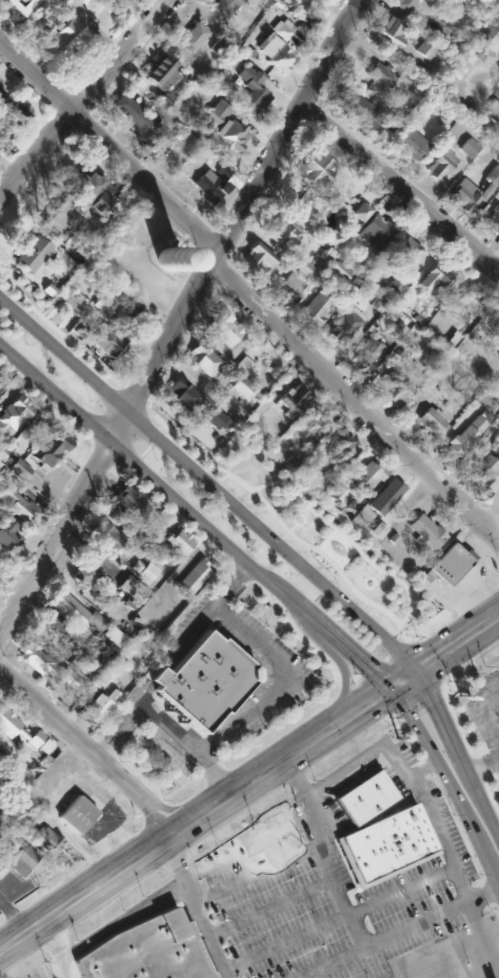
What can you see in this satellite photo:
building: (283, 0)
building: (121, 2)
building: (403, 4)
building: (21, 5)
building: (225, 6)
building: (283, 28)
building: (391, 31)
building: (70, 37)
building: (192, 37)
building: (490, 39)
building: (424, 50)
building: (275, 52)
building: (161, 72)
building: (378, 74)
building: (251, 90)
road: (82, 94)
building: (2, 95)
building: (166, 97)
building: (492, 110)
building: (369, 112)
building: (135, 118)
building: (12, 122)
building: (224, 128)
building: (410, 143)
building: (467, 148)
road: (106, 158)
building: (440, 164)
building: (316, 173)
building: (88, 185)
building: (208, 185)
building: (472, 191)
road: (396, 195)
building: (99, 203)
building: (361, 211)
building: (492, 220)
building: (64, 225)
building: (375, 231)
building: (283, 232)
building: (332, 237)
building: (407, 251)
building: (34, 254)
building: (257, 257)
water tower: (163, 264)
building: (306, 270)
building: (337, 270)
building: (435, 277)
building: (293, 282)
building: (394, 286)
building: (470, 296)
building: (315, 307)
building: (123, 311)
road: (179, 312)
building: (224, 328)
building: (345, 328)
building: (77, 331)
building: (494, 331)
building: (106, 341)
building: (368, 353)
building: (498, 354)
building: (204, 360)
building: (244, 366)
building: (498, 384)
building: (241, 387)
building: (393, 389)
building: (434, 393)
building: (182, 394)
building: (292, 399)
road: (351, 409)
building: (259, 410)
building: (14, 413)
building: (213, 419)
building: (431, 420)
building: (309, 424)
building: (468, 432)
building: (339, 440)
building: (496, 440)
building: (52, 448)
building: (484, 466)
building: (19, 468)
building: (368, 471)
road: (206, 494)
building: (385, 496)
building: (15, 504)
building: (128, 504)
road: (193, 527)
building: (377, 530)
building: (425, 532)
building: (8, 534)
building: (106, 534)
building: (178, 541)
building: (447, 564)
building: (86, 570)
building: (143, 571)
building: (192, 577)
building: (128, 586)
road: (226, 590)
building: (71, 612)
building: (113, 636)
building: (34, 659)
road: (168, 659)
road: (336, 676)
building: (67, 678)
building: (105, 679)
building: (150, 681)
building: (199, 685)
road: (279, 688)
traffic signals: (393, 688)
road: (484, 695)
parking lot: (488, 703)
building: (99, 705)
road: (470, 707)
road: (331, 727)
parking lot: (462, 728)
building: (17, 730)
road: (490, 731)
road: (110, 736)
road: (162, 736)
road: (485, 741)
building: (44, 746)
road: (85, 759)
road: (475, 772)
road: (209, 782)
road: (451, 782)
parking lot: (493, 798)
building: (358, 803)
building: (76, 817)
road: (427, 819)
building: (47, 840)
building: (381, 848)
building: (21, 859)
road: (314, 859)
building: (1, 861)
building: (393, 874)
parking lot: (348, 885)
road: (169, 891)
road: (82, 895)
road: (397, 897)
road: (261, 909)
road: (187, 911)
road: (14, 914)
road: (401, 934)
road: (276, 942)
road: (47, 944)
building: (143, 954)
road: (438, 959)
road: (493, 977)

